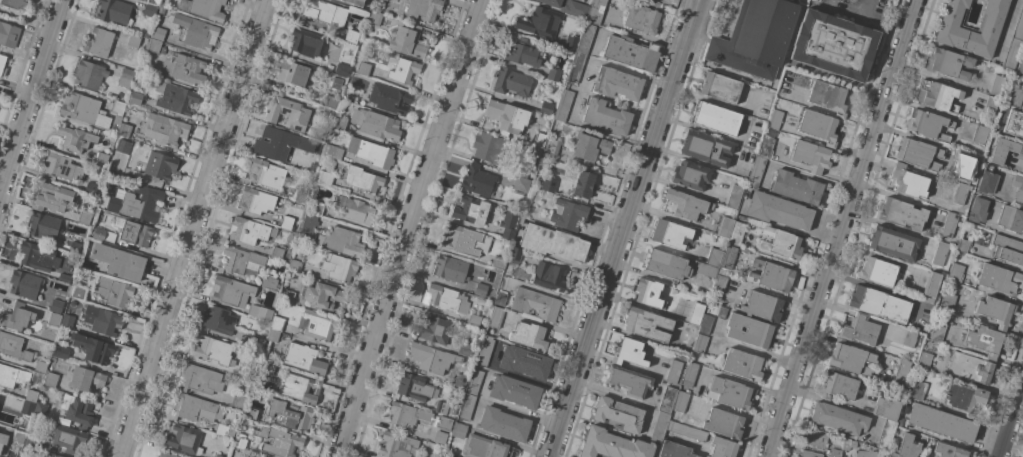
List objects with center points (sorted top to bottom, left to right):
building: (154, 1)
building: (1022, 1)
building: (356, 2)
building: (15, 4)
building: (568, 7)
building: (204, 8)
building: (424, 9)
building: (150, 10)
building: (161, 10)
building: (113, 11)
building: (595, 11)
building: (324, 12)
building: (361, 16)
building: (374, 18)
building: (642, 19)
building: (540, 22)
building: (953, 28)
building: (197, 31)
building: (158, 33)
building: (8, 34)
building: (352, 36)
building: (756, 37)
building: (586, 38)
building: (133, 40)
building: (408, 41)
building: (99, 42)
building: (308, 43)
building: (571, 43)
building: (1014, 43)
building: (834, 45)
building: (154, 46)
building: (523, 52)
building: (631, 52)
road: (603, 62)
building: (948, 63)
building: (2, 65)
building: (576, 67)
building: (1020, 68)
building: (184, 69)
building: (363, 69)
building: (342, 70)
building: (403, 71)
building: (292, 73)
building: (89, 74)
building: (553, 74)
building: (125, 77)
building: (512, 82)
building: (617, 83)
building: (997, 85)
building: (720, 87)
building: (540, 89)
building: (334, 94)
building: (938, 95)
building: (175, 97)
building: (828, 97)
building: (1014, 97)
building: (135, 98)
building: (389, 98)
road: (31, 102)
building: (563, 105)
building: (989, 106)
building: (546, 108)
building: (84, 110)
building: (117, 113)
building: (287, 113)
building: (328, 113)
building: (606, 116)
building: (507, 117)
building: (715, 118)
building: (775, 119)
building: (340, 123)
building: (1014, 123)
building: (376, 124)
building: (928, 125)
building: (818, 126)
building: (124, 129)
building: (164, 129)
building: (980, 134)
building: (76, 138)
building: (539, 140)
building: (277, 144)
building: (123, 146)
building: (765, 146)
building: (494, 148)
building: (551, 148)
building: (706, 148)
building: (589, 149)
building: (1003, 150)
building: (334, 152)
building: (371, 152)
building: (918, 153)
building: (811, 156)
building: (101, 159)
building: (160, 165)
building: (970, 166)
building: (61, 167)
building: (325, 171)
building: (522, 172)
building: (756, 172)
building: (110, 173)
building: (266, 174)
building: (691, 175)
building: (362, 179)
building: (477, 180)
building: (907, 181)
building: (987, 181)
building: (521, 184)
building: (548, 184)
building: (583, 184)
building: (796, 187)
building: (1018, 188)
building: (90, 189)
building: (960, 193)
road: (1, 195)
building: (301, 196)
building: (735, 196)
building: (53, 198)
building: (256, 201)
building: (134, 203)
building: (687, 204)
building: (317, 208)
building: (354, 209)
building: (470, 210)
building: (977, 210)
building: (779, 211)
building: (568, 214)
building: (901, 214)
building: (84, 217)
building: (1011, 219)
building: (286, 222)
building: (308, 223)
building: (949, 224)
building: (43, 225)
building: (724, 226)
road: (195, 228)
road: (409, 228)
road: (625, 228)
road: (841, 228)
building: (249, 230)
building: (133, 232)
building: (508, 233)
building: (736, 233)
building: (99, 234)
building: (671, 234)
building: (341, 241)
building: (466, 241)
building: (553, 243)
building: (781, 243)
building: (893, 243)
building: (962, 245)
building: (74, 247)
building: (1008, 249)
building: (276, 253)
building: (515, 253)
building: (940, 253)
building: (37, 256)
building: (714, 257)
building: (728, 257)
building: (242, 260)
building: (119, 261)
building: (498, 263)
building: (666, 264)
building: (294, 265)
building: (339, 267)
building: (451, 269)
building: (705, 270)
building: (878, 271)
building: (289, 272)
building: (955, 273)
building: (771, 275)
building: (549, 276)
building: (64, 278)
building: (999, 278)
building: (270, 283)
building: (25, 284)
building: (719, 284)
building: (931, 286)
building: (480, 289)
building: (231, 291)
building: (78, 292)
building: (113, 292)
building: (648, 293)
building: (289, 296)
building: (325, 297)
building: (500, 298)
building: (444, 299)
building: (878, 303)
building: (947, 303)
building: (535, 304)
building: (56, 306)
building: (762, 306)
building: (996, 311)
building: (259, 312)
building: (721, 312)
building: (696, 313)
building: (16, 317)
building: (495, 317)
building: (54, 319)
building: (218, 319)
building: (102, 320)
building: (473, 320)
building: (66, 321)
building: (277, 323)
building: (705, 324)
building: (647, 325)
building: (319, 326)
building: (433, 329)
building: (748, 330)
building: (859, 330)
building: (937, 332)
building: (272, 335)
building: (530, 336)
building: (909, 338)
building: (250, 340)
building: (985, 340)
building: (699, 343)
building: (13, 346)
building: (93, 348)
building: (464, 348)
building: (213, 350)
building: (484, 350)
building: (61, 352)
building: (630, 353)
building: (431, 358)
building: (851, 358)
building: (303, 359)
building: (924, 361)
building: (524, 362)
building: (743, 364)
building: (249, 365)
building: (41, 366)
building: (265, 366)
building: (970, 368)
building: (674, 371)
building: (901, 372)
building: (689, 374)
building: (13, 376)
building: (86, 378)
building: (50, 379)
building: (201, 379)
building: (460, 381)
building: (627, 381)
building: (474, 382)
building: (840, 385)
building: (414, 387)
building: (300, 388)
building: (515, 391)
building: (686, 391)
building: (918, 391)
building: (730, 393)
building: (31, 396)
building: (964, 397)
building: (667, 399)
building: (681, 401)
building: (238, 402)
building: (41, 407)
building: (441, 407)
building: (467, 407)
building: (886, 407)
building: (27, 408)
building: (195, 408)
building: (77, 410)
building: (453, 410)
building: (906, 410)
building: (250, 413)
building: (289, 414)
building: (618, 414)
building: (407, 415)
building: (839, 419)
building: (899, 420)
road: (1011, 422)
building: (443, 423)
building: (724, 423)
building: (941, 423)
building: (504, 424)
building: (660, 426)
building: (458, 430)
building: (225, 431)
building: (687, 431)
building: (886, 435)
building: (19, 437)
building: (440, 437)
building: (815, 437)
building: (66, 438)
building: (31, 439)
building: (184, 439)
building: (240, 441)
building: (279, 441)
building: (3, 442)
building: (847, 443)
building: (398, 445)
building: (612, 445)
building: (485, 447)
building: (907, 447)
building: (722, 448)
building: (674, 450)
building: (948, 450)
building: (835, 452)
building: (809, 454)
building: (865, 454)
building: (165, 455)
building: (451, 455)
building: (53, 456)
building: (57, 456)
building: (218, 456)
building: (255, 456)
building: (706, 456)
building: (835, 456)

